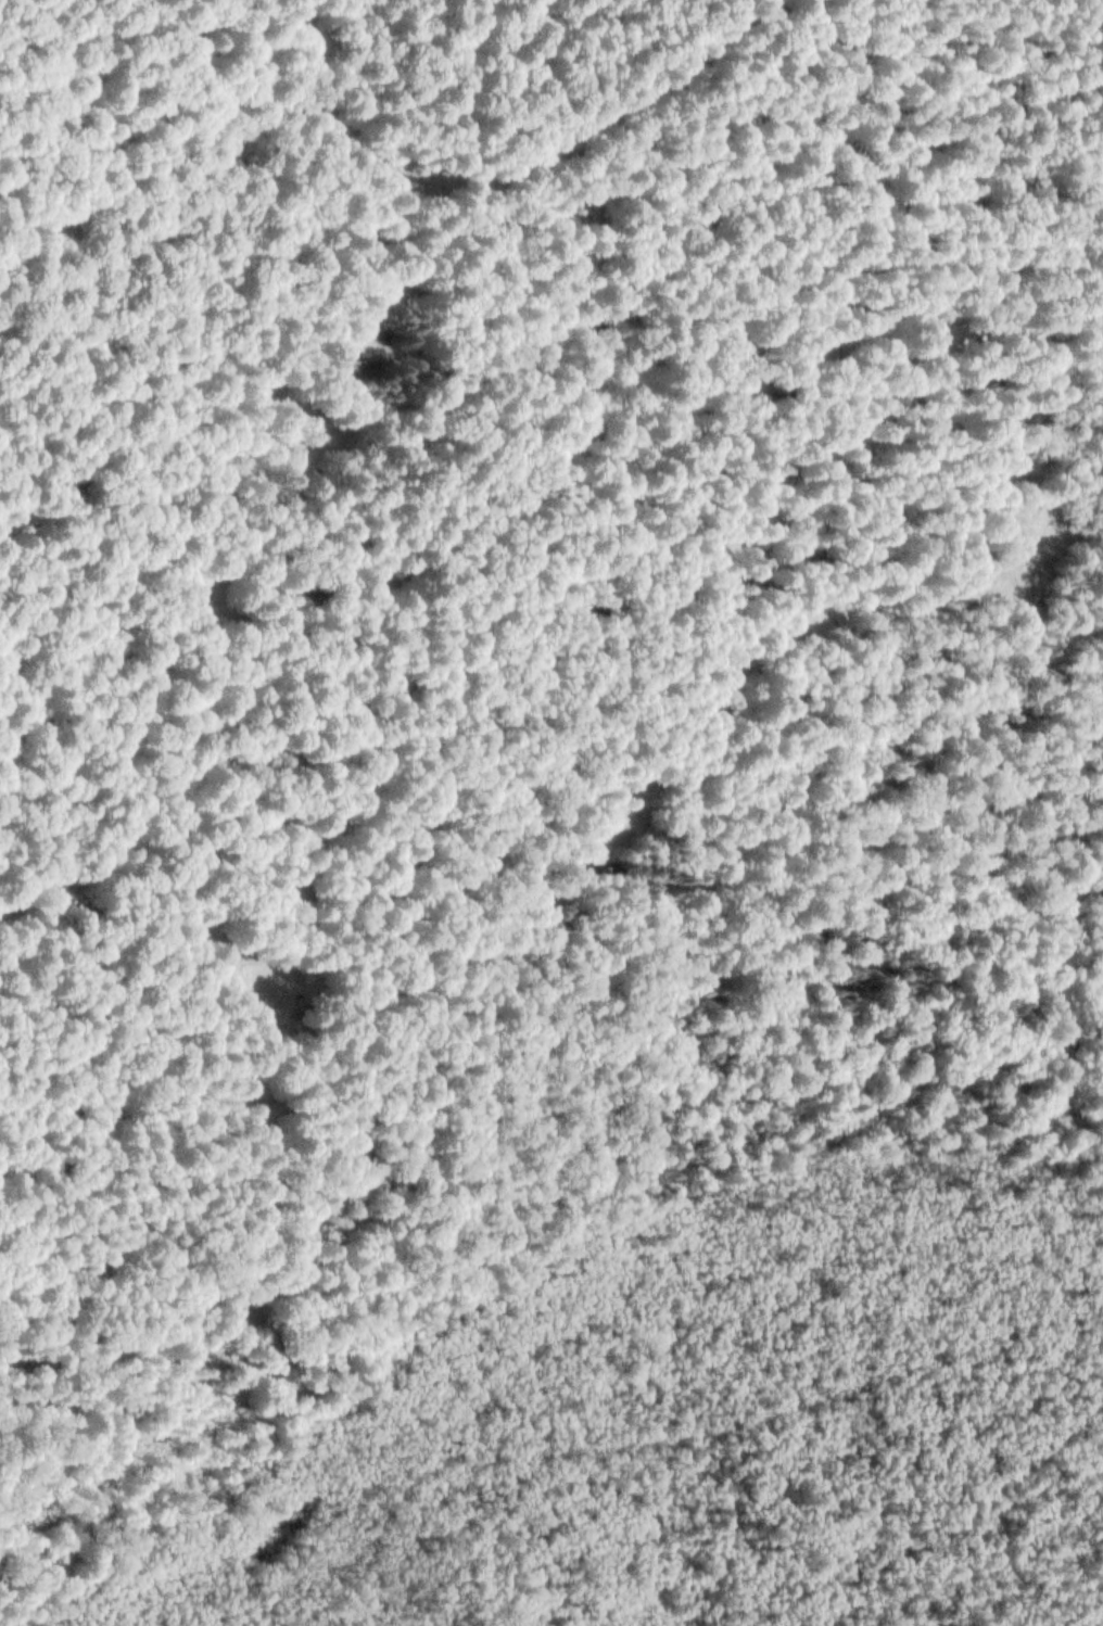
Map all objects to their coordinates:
building: (360, 363)
road: (556, 660)
road: (1063, 863)

